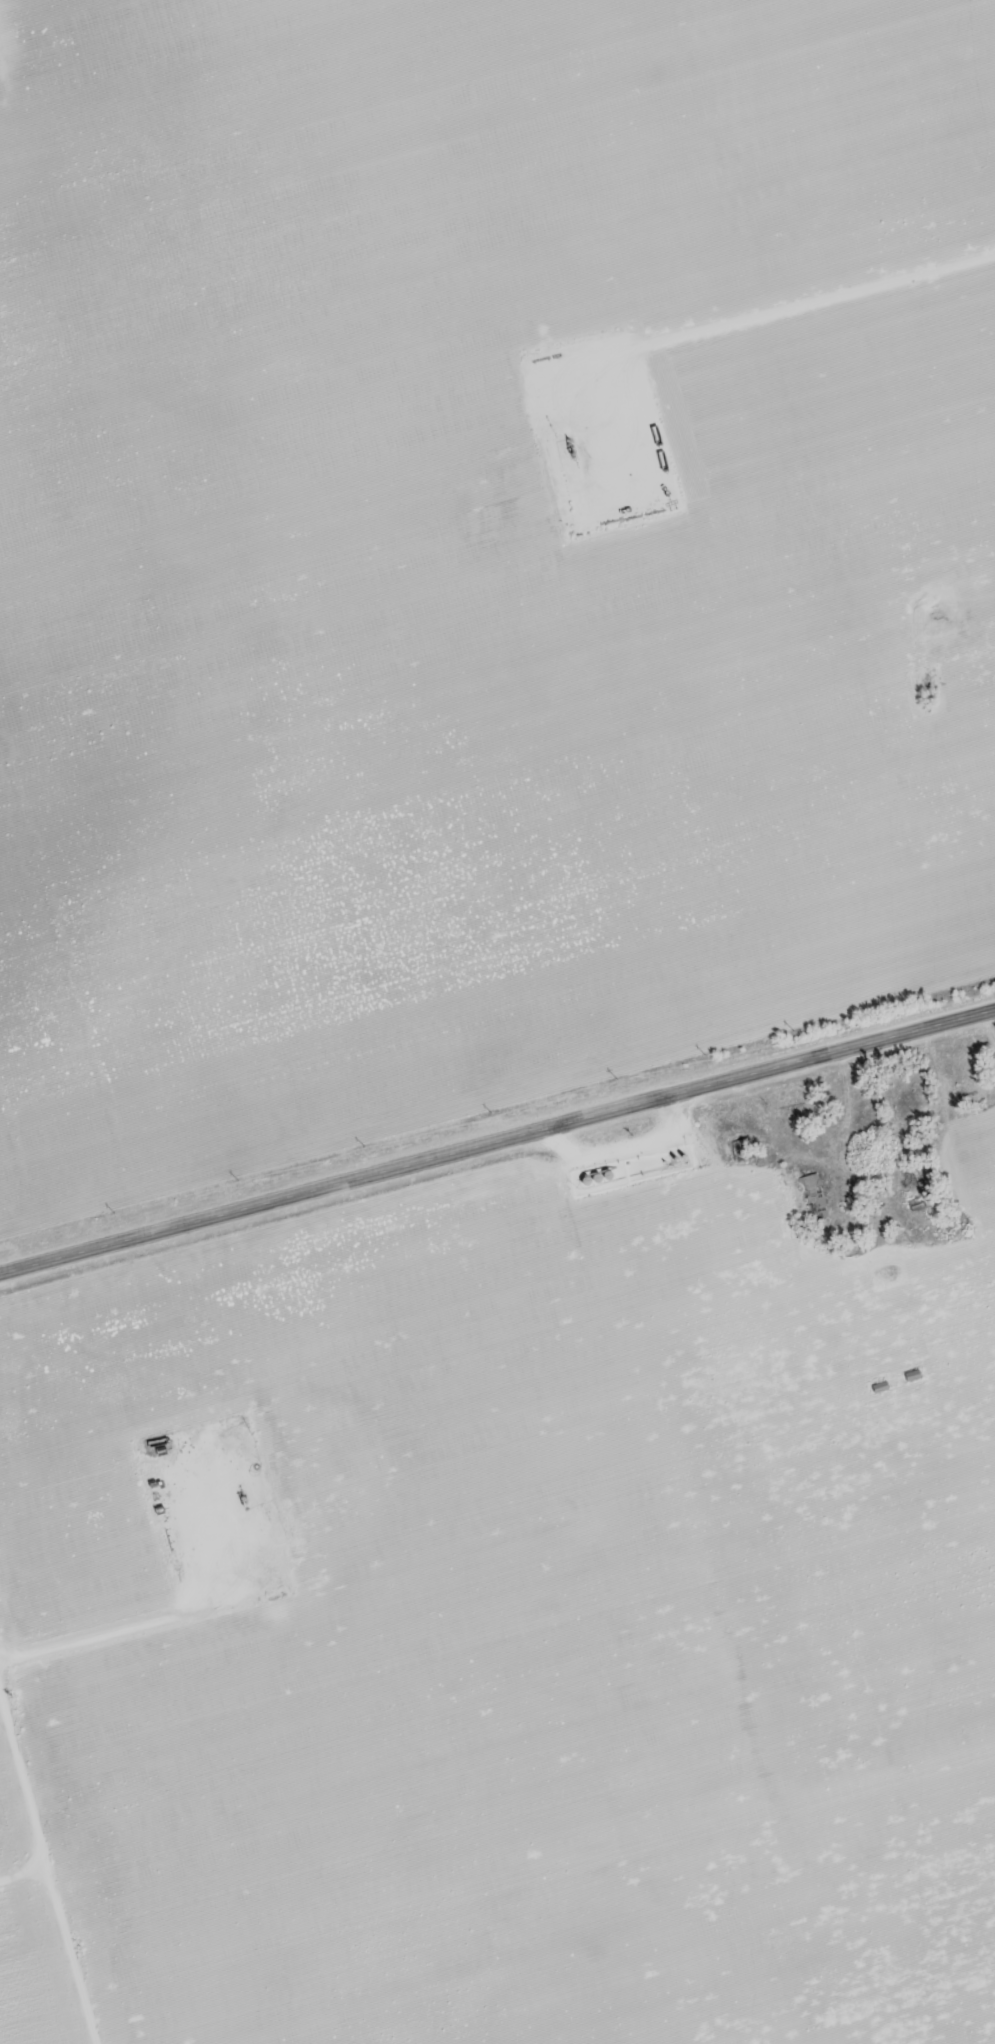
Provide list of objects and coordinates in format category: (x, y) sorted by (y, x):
road: (497, 1147)
building: (813, 1197)
building: (880, 1387)
road: (37, 1892)

